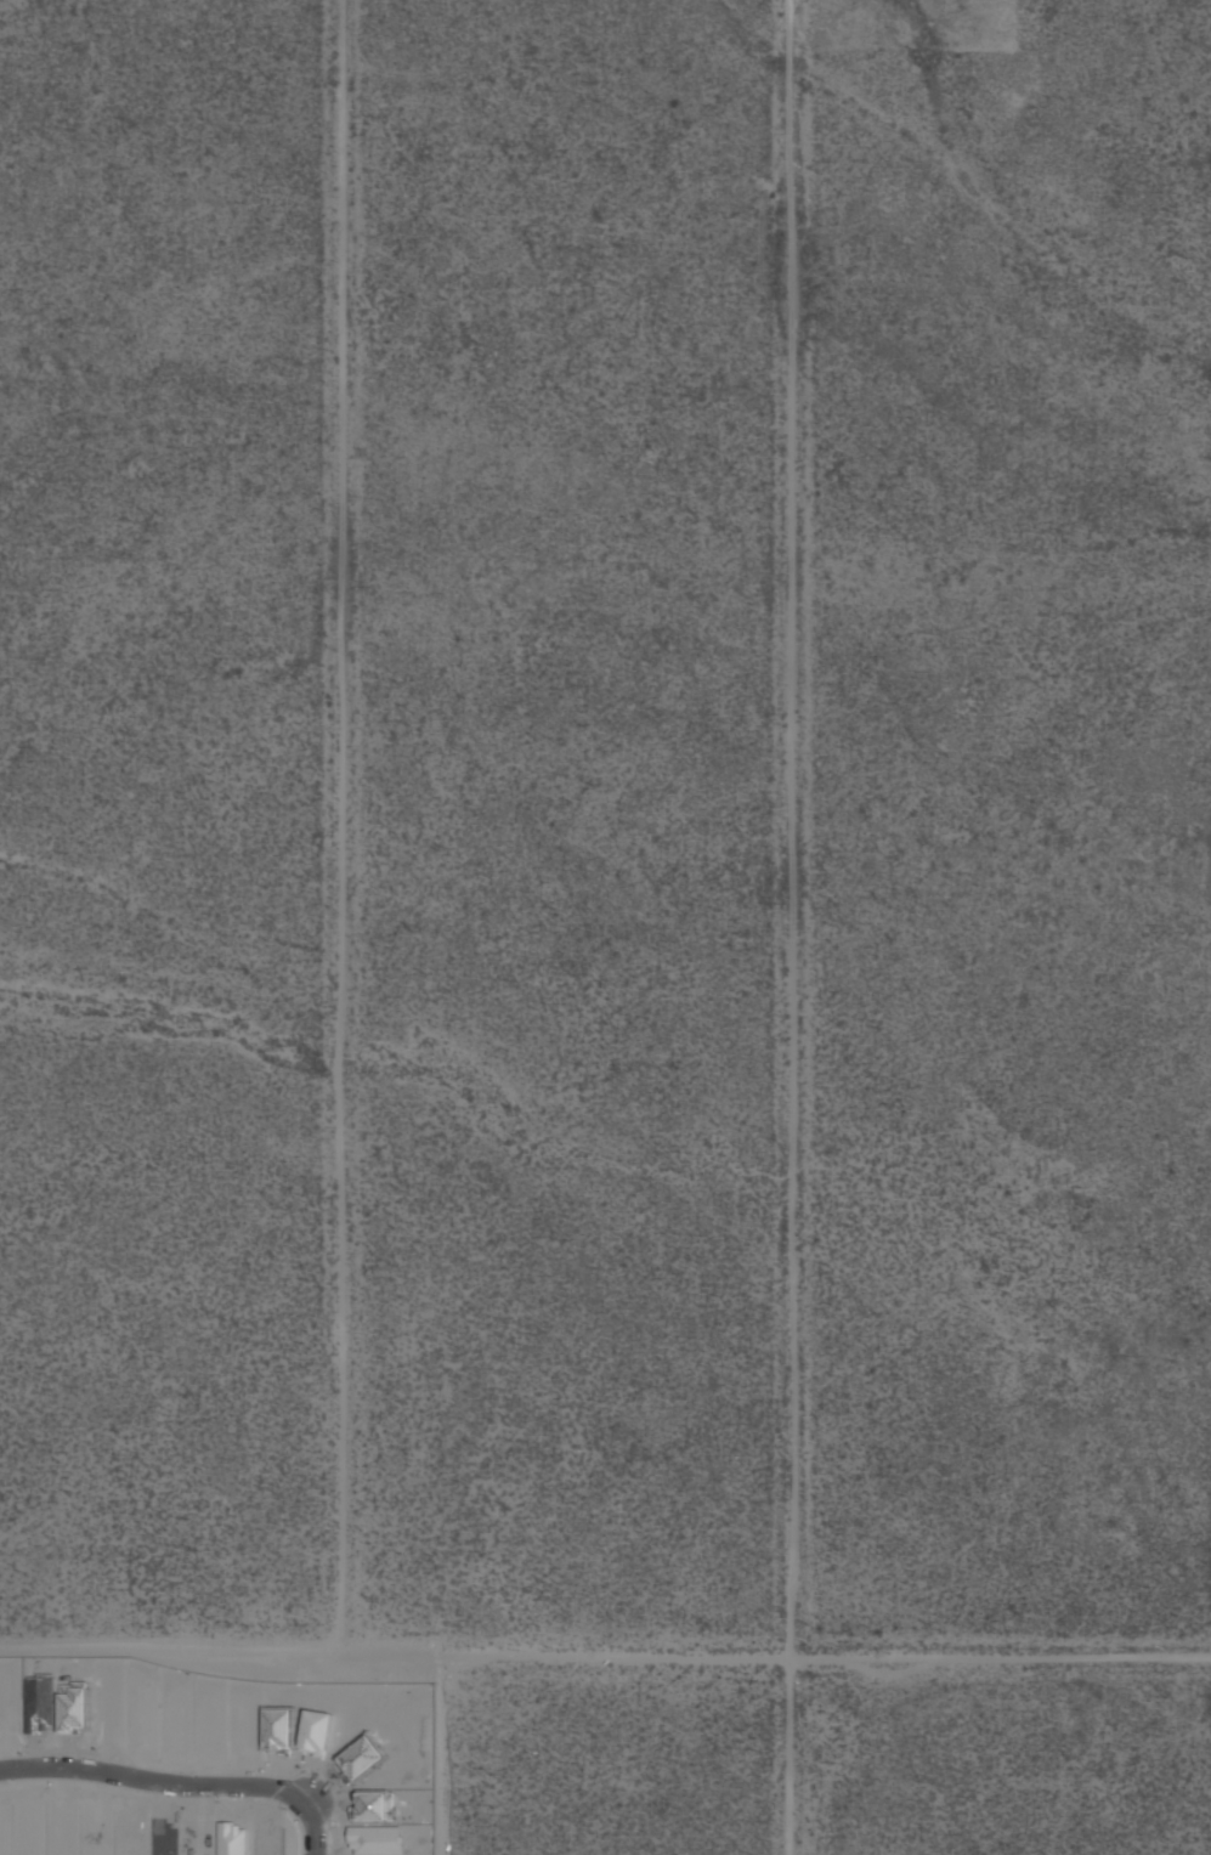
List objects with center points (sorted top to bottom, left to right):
road: (346, 826)
road: (800, 827)
road: (605, 1653)
building: (38, 1709)
building: (73, 1709)
building: (209, 1725)
building: (276, 1734)
building: (315, 1735)
road: (57, 1757)
building: (358, 1757)
road: (330, 1785)
road: (153, 1786)
building: (374, 1806)
road: (270, 1811)
road: (311, 1831)
building: (2, 1837)
building: (160, 1839)
building: (196, 1839)
building: (231, 1840)
building: (265, 1842)
building: (374, 1842)

